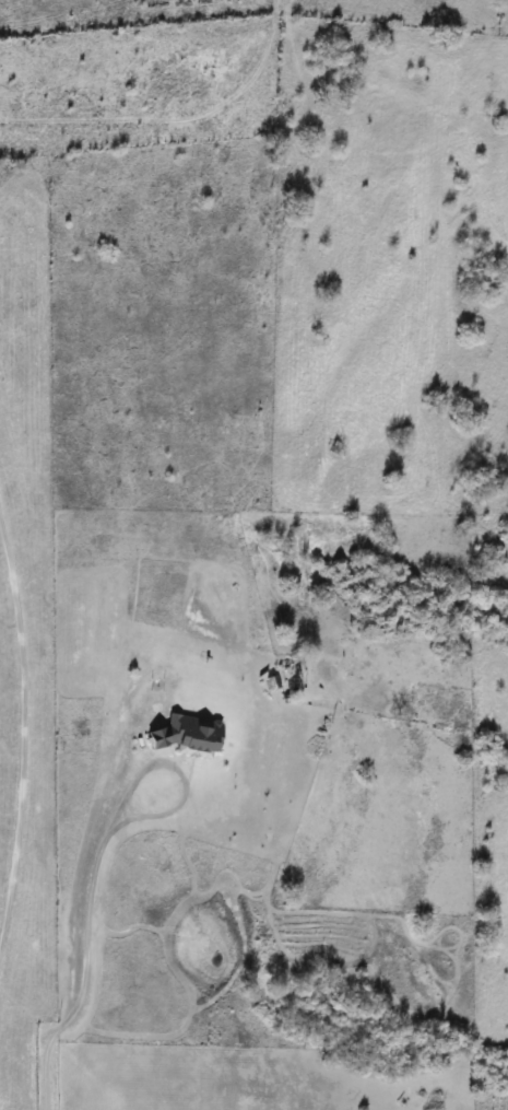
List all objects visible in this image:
road: (22, 732)
road: (182, 773)
road: (87, 965)

